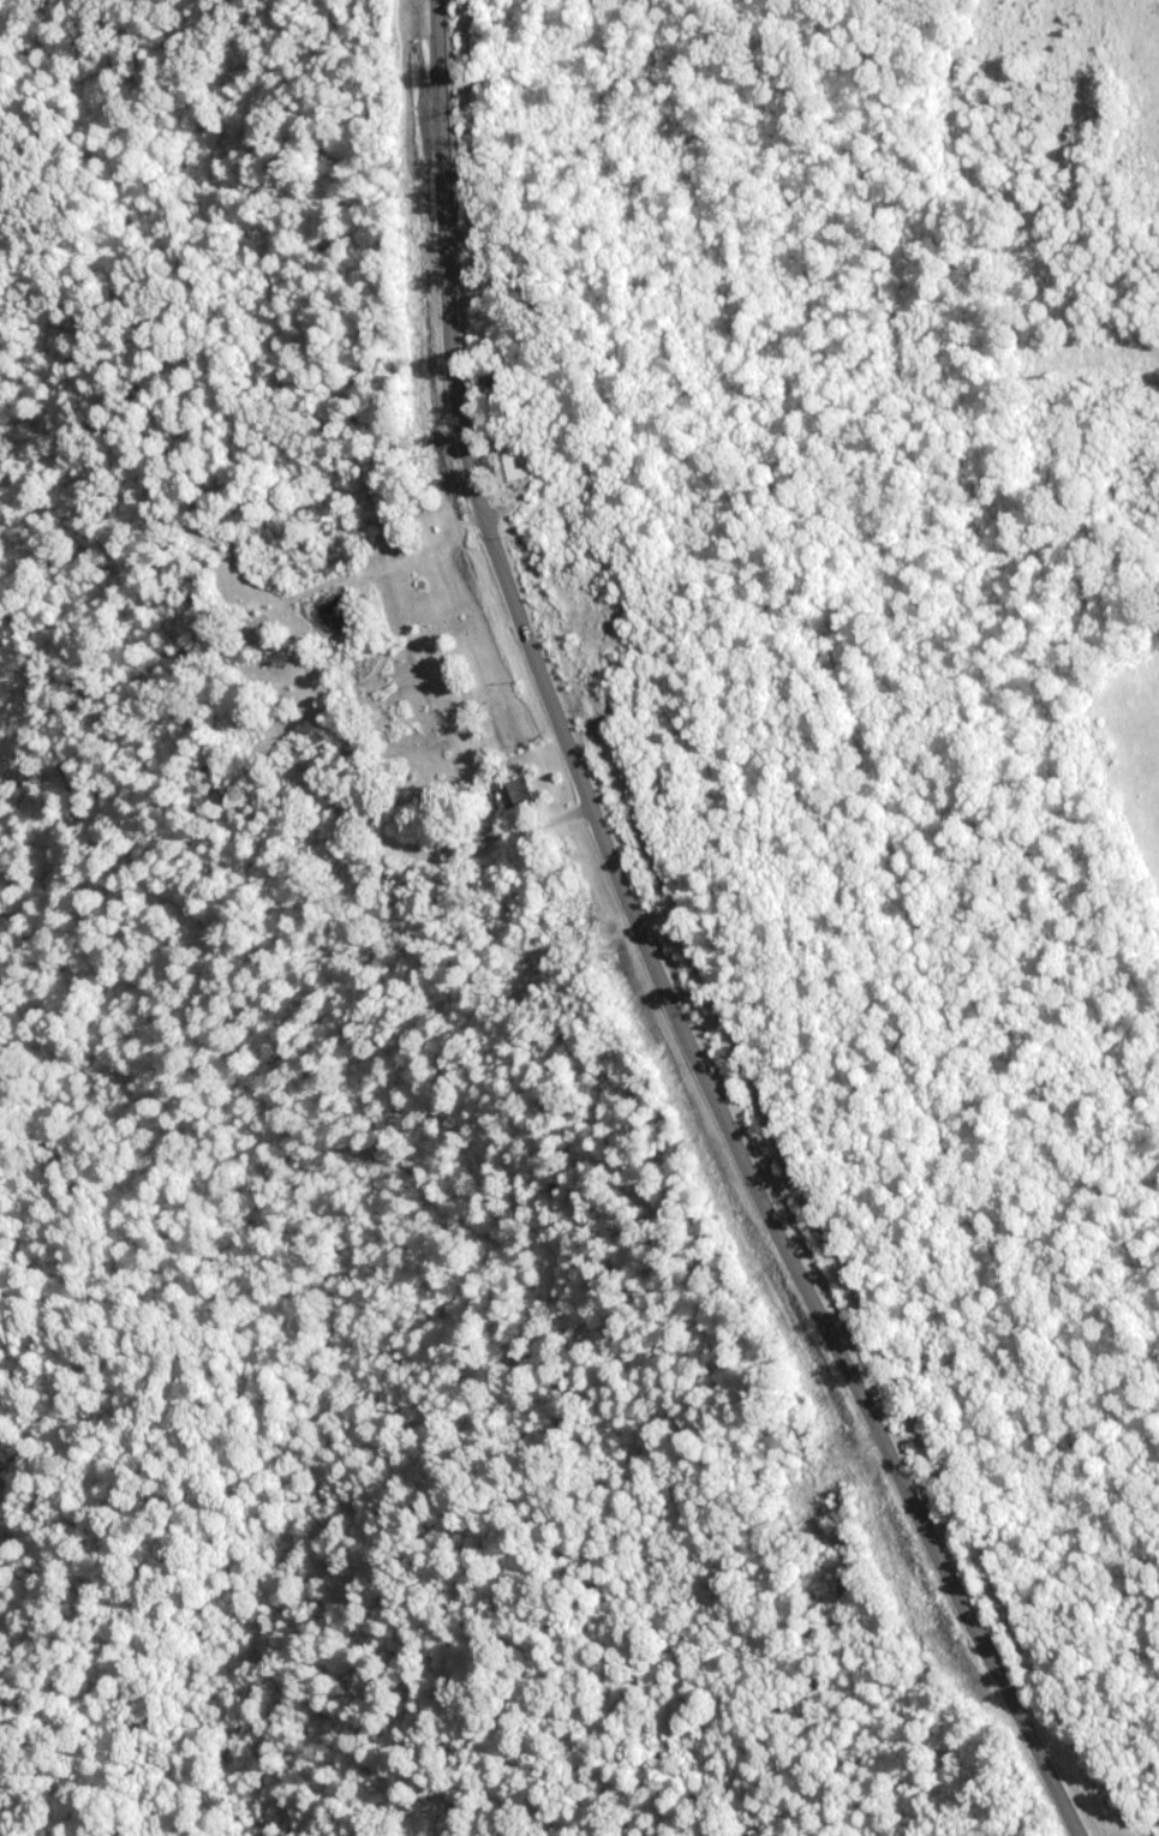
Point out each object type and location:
road: (1149, 41)
building: (520, 466)
building: (508, 794)
road: (651, 950)

